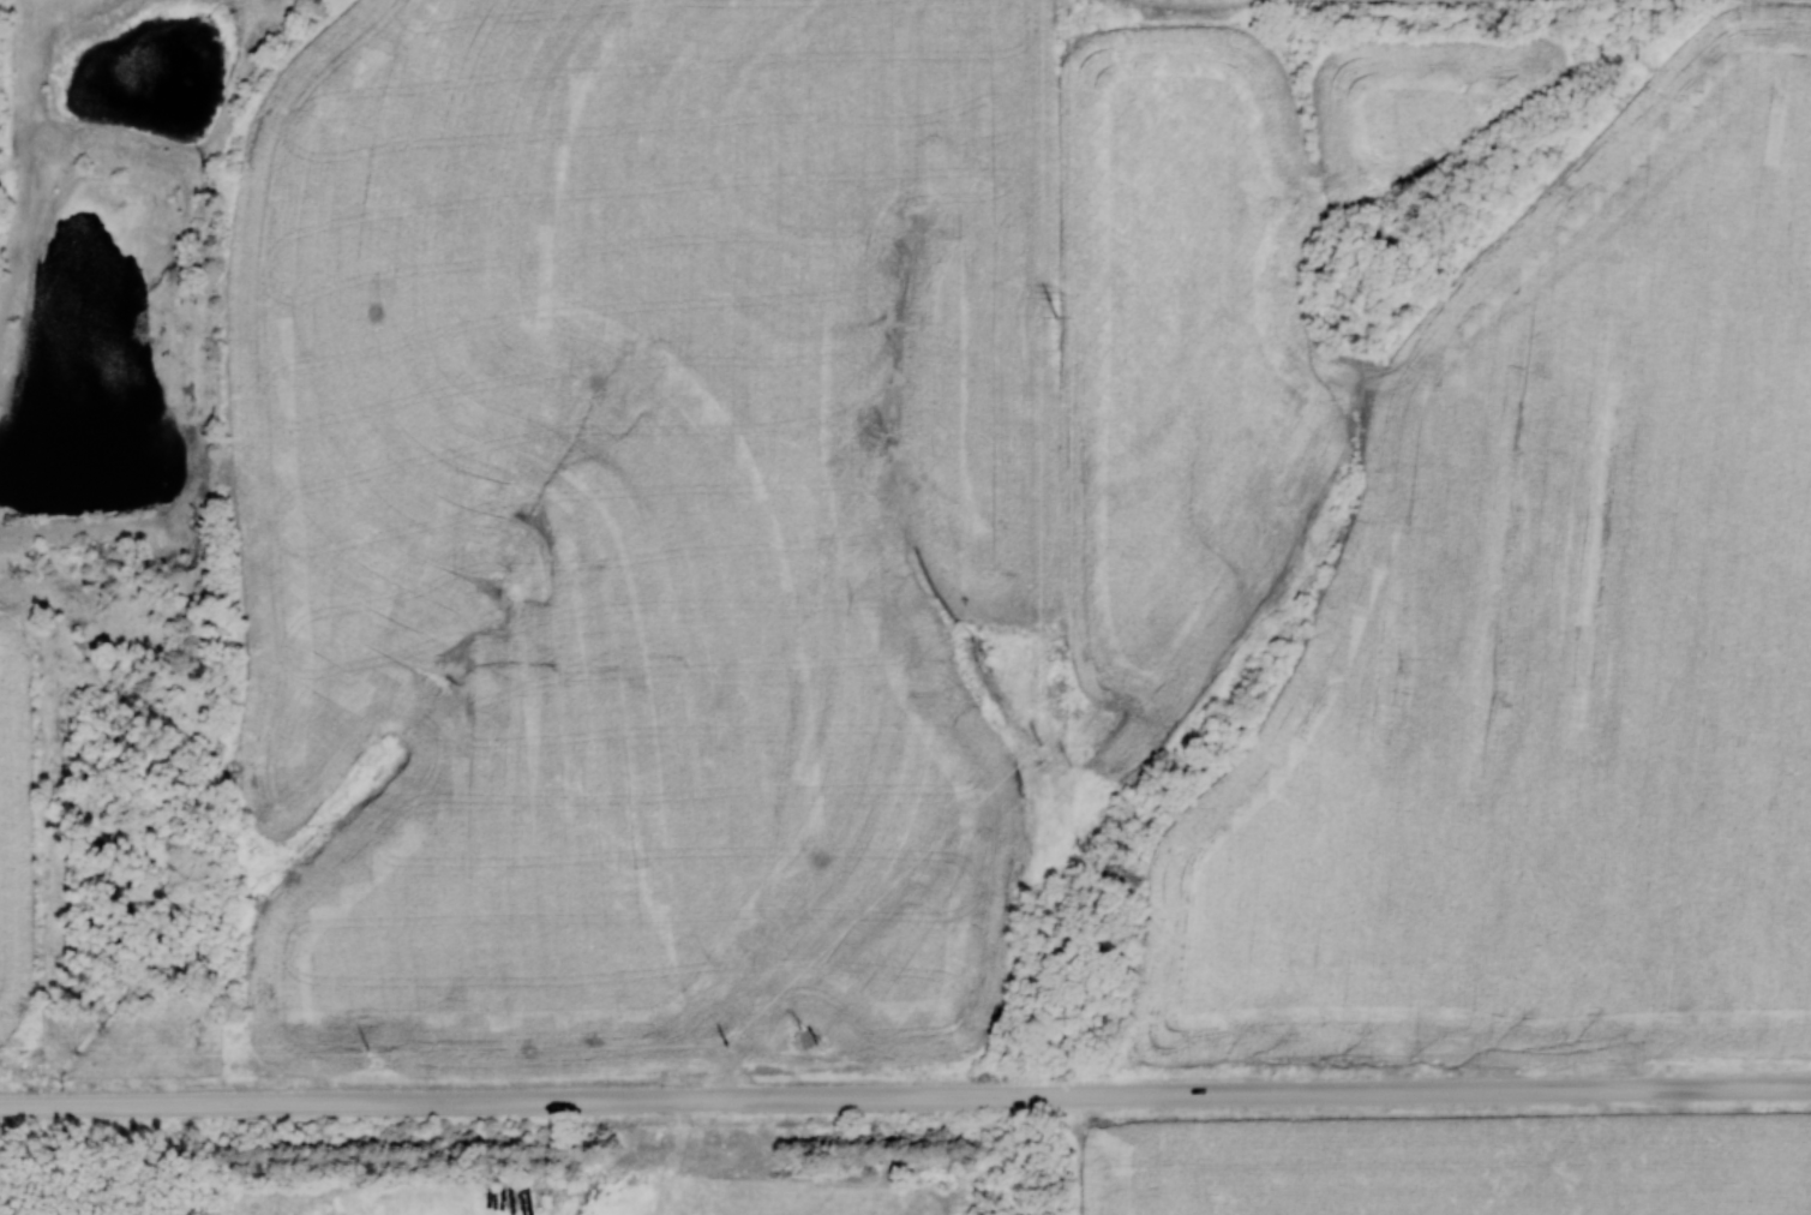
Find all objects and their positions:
crop: (1481, 1)
crop: (1189, 2)
crop: (1776, 5)
power tower: (1057, 318)
power tower: (1042, 746)
power tower: (1066, 756)
power tower: (810, 1042)
power tower: (727, 1047)
power tower: (370, 1051)
road: (905, 1095)
crop: (1447, 1163)

